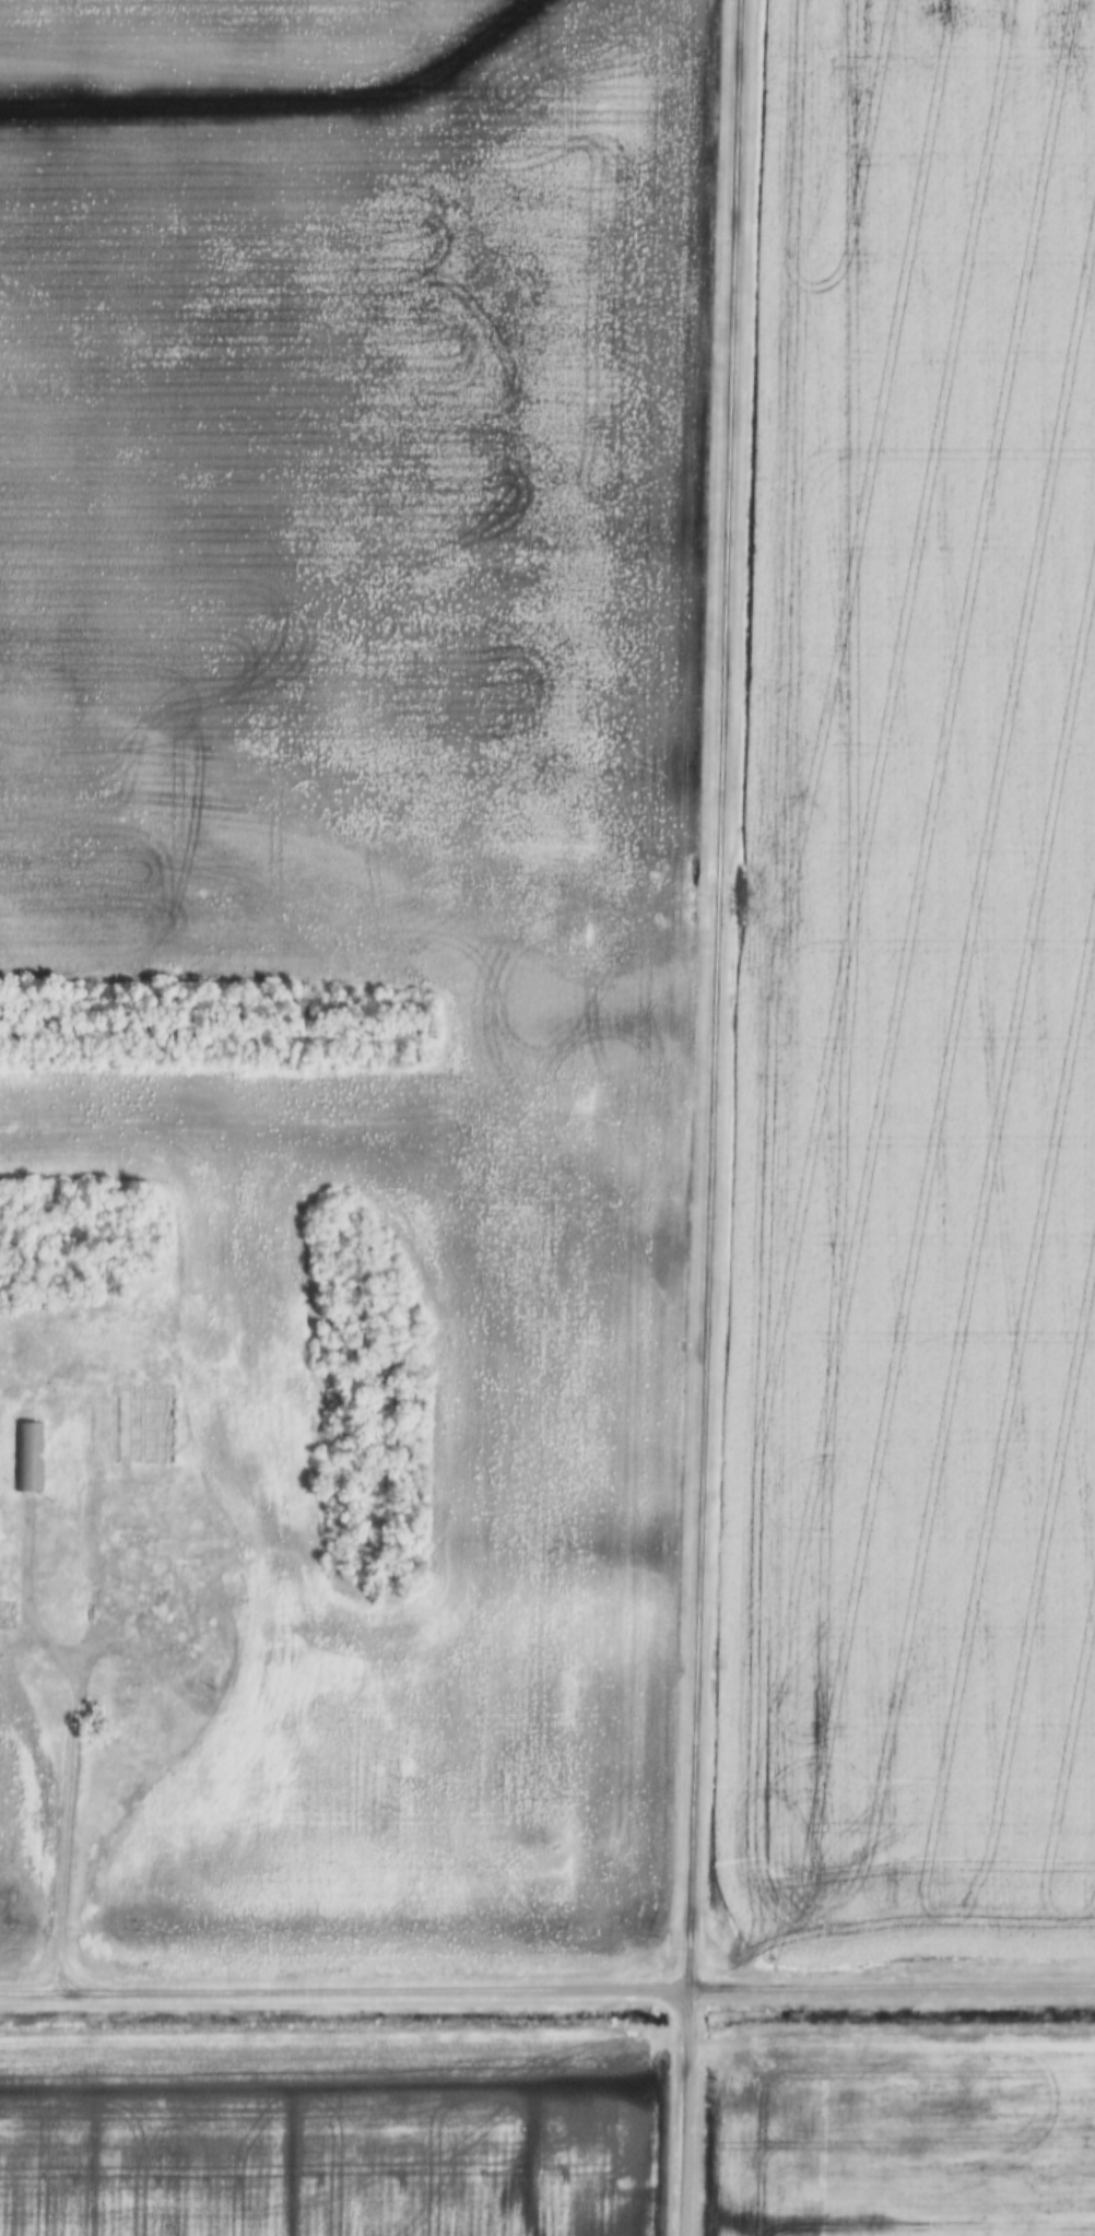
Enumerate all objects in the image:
crop: (370, 891)
road: (708, 995)
crop: (917, 997)
building: (121, 1422)
building: (26, 1455)
building: (133, 1551)
road: (91, 1591)
road: (25, 1594)
road: (164, 1624)
crop: (20, 1826)
road: (64, 1838)
road: (888, 1987)
road: (385, 1990)
road: (44, 1991)
road: (679, 2113)
crop: (903, 2131)
crop: (326, 2137)

